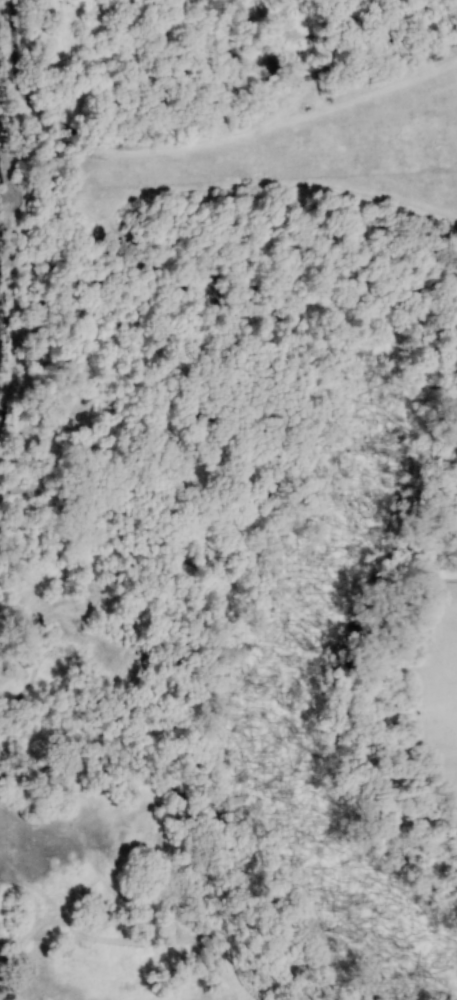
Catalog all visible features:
park: (229, 289)

